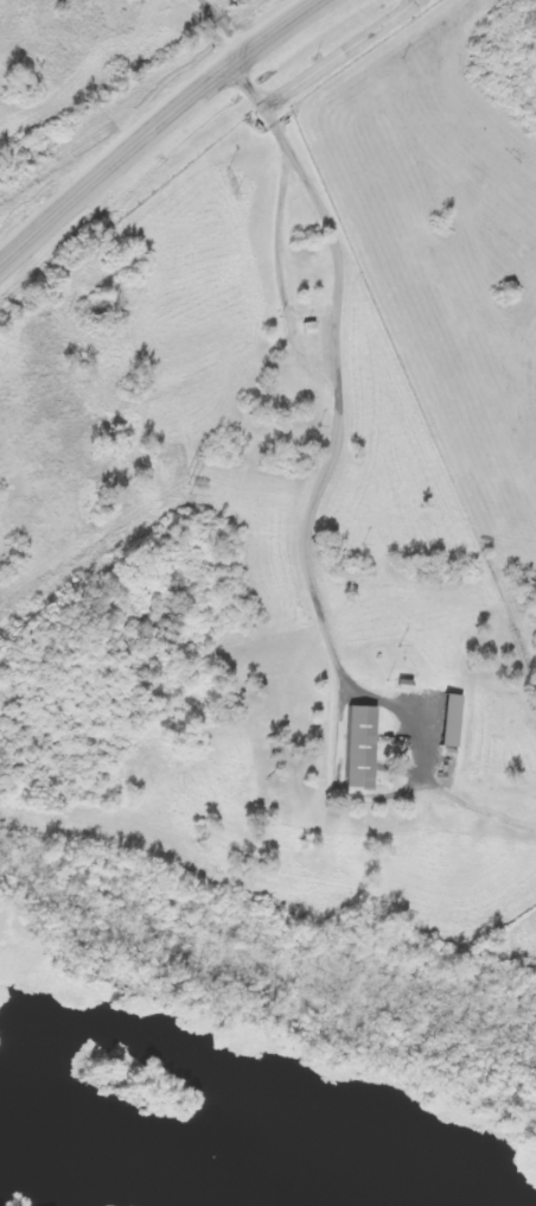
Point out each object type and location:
road: (155, 125)
road: (342, 335)
power tower: (186, 485)
building: (445, 719)
building: (355, 748)

